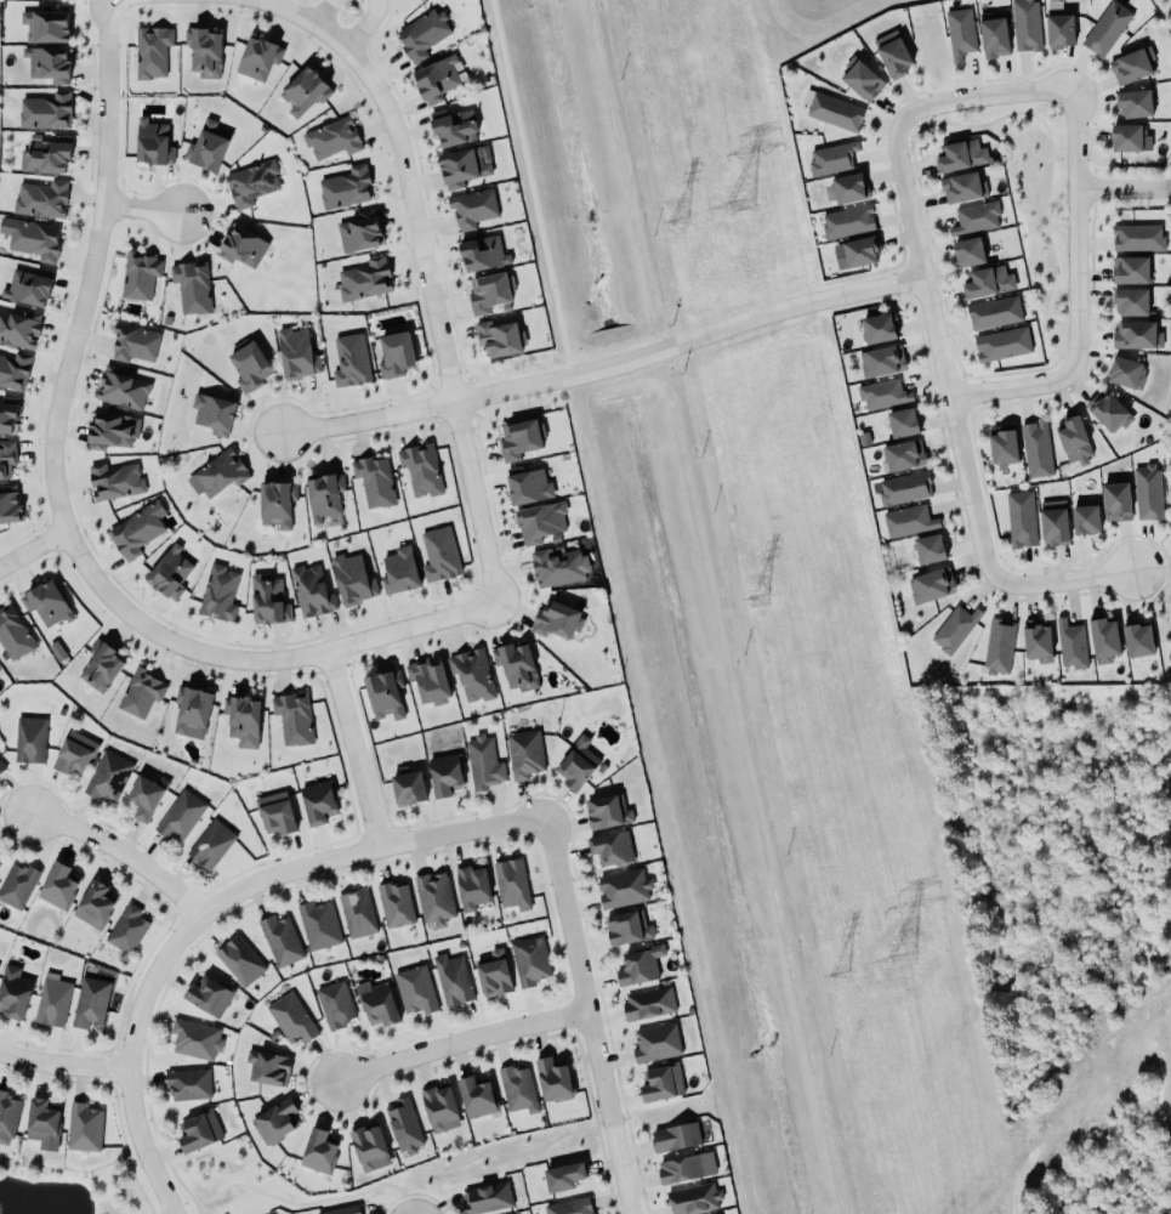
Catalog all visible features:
building: (61, 0)
road: (110, 4)
road: (322, 11)
building: (46, 24)
road: (362, 24)
building: (1025, 25)
building: (1105, 28)
building: (1058, 30)
building: (957, 32)
building: (420, 33)
building: (993, 35)
building: (149, 50)
building: (204, 52)
building: (891, 52)
building: (256, 57)
building: (46, 62)
building: (1131, 66)
building: (859, 73)
building: (436, 80)
building: (302, 91)
road: (985, 103)
building: (1133, 104)
building: (44, 110)
building: (832, 112)
building: (451, 127)
building: (1127, 135)
building: (330, 137)
building: (150, 142)
building: (206, 146)
building: (41, 154)
building: (960, 157)
building: (830, 158)
building: (462, 164)
building: (250, 181)
building: (343, 187)
building: (847, 188)
building: (960, 188)
building: (40, 198)
road: (1124, 203)
power tower: (741, 204)
road: (140, 205)
building: (472, 209)
building: (976, 219)
power tower: (675, 221)
building: (847, 222)
building: (358, 232)
road: (1078, 236)
building: (1137, 238)
building: (32, 239)
building: (240, 246)
building: (479, 253)
building: (859, 253)
building: (968, 253)
building: (1129, 268)
road: (424, 270)
building: (137, 274)
building: (364, 279)
building: (985, 280)
building: (191, 285)
building: (25, 288)
building: (488, 291)
building: (1130, 302)
building: (991, 311)
building: (876, 328)
building: (18, 329)
building: (1133, 331)
building: (496, 337)
building: (133, 344)
building: (1000, 344)
road: (933, 346)
building: (294, 353)
building: (393, 353)
road: (602, 358)
building: (880, 358)
building: (349, 362)
building: (248, 367)
building: (13, 370)
building: (1124, 371)
road: (1014, 385)
building: (119, 387)
building: (880, 392)
building: (1105, 410)
building: (211, 413)
building: (8, 414)
building: (900, 422)
building: (110, 430)
building: (518, 438)
building: (1071, 439)
building: (1002, 442)
building: (1034, 448)
building: (902, 454)
building: (5, 456)
building: (419, 469)
building: (218, 472)
building: (114, 481)
building: (373, 481)
building: (527, 486)
building: (902, 487)
building: (1146, 490)
building: (322, 495)
building: (1114, 501)
building: (274, 503)
building: (8, 507)
road: (59, 512)
building: (1018, 518)
building: (905, 520)
building: (1085, 520)
building: (538, 521)
building: (1051, 522)
building: (136, 531)
road: (33, 546)
building: (928, 549)
building: (437, 554)
building: (556, 567)
building: (399, 572)
building: (170, 574)
building: (349, 580)
building: (928, 584)
building: (308, 590)
road: (1051, 591)
building: (216, 592)
power tower: (755, 597)
building: (266, 600)
building: (46, 605)
building: (555, 620)
building: (953, 629)
building: (13, 635)
building: (1104, 640)
building: (1137, 641)
building: (1035, 642)
building: (1069, 643)
building: (996, 645)
building: (98, 665)
building: (513, 666)
building: (470, 674)
building: (427, 681)
building: (138, 692)
building: (382, 696)
building: (189, 709)
building: (292, 719)
building: (241, 720)
building: (29, 741)
road: (347, 747)
building: (74, 754)
building: (522, 754)
building: (481, 762)
building: (576, 765)
building: (1, 766)
building: (444, 775)
building: (106, 776)
building: (407, 789)
building: (143, 796)
building: (317, 802)
building: (606, 812)
building: (273, 813)
building: (180, 816)
building: (210, 844)
building: (609, 847)
road: (118, 855)
building: (16, 884)
building: (510, 884)
building: (471, 885)
building: (57, 886)
building: (621, 887)
building: (433, 898)
building: (396, 904)
building: (92, 906)
road: (211, 906)
building: (357, 914)
building: (316, 925)
building: (626, 929)
building: (126, 931)
building: (278, 940)
power tower: (898, 959)
building: (528, 960)
building: (239, 961)
building: (638, 966)
road: (574, 970)
building: (491, 975)
power tower: (835, 975)
building: (450, 980)
building: (11, 988)
building: (413, 988)
building: (208, 995)
building: (50, 1002)
building: (90, 1003)
building: (375, 1004)
building: (648, 1004)
building: (334, 1005)
building: (289, 1017)
building: (193, 1039)
road: (456, 1040)
building: (655, 1043)
building: (266, 1067)
road: (64, 1068)
building: (552, 1080)
building: (659, 1082)
building: (187, 1083)
building: (516, 1089)
building: (474, 1097)
building: (439, 1108)
building: (6, 1116)
building: (40, 1118)
building: (275, 1122)
building: (402, 1125)
building: (83, 1128)
building: (198, 1131)
building: (673, 1136)
building: (365, 1146)
building: (317, 1151)
building: (683, 1168)
road: (618, 1169)
building: (562, 1176)
building: (485, 1198)
building: (693, 1199)
building: (569, 1207)
building: (341, 1209)

